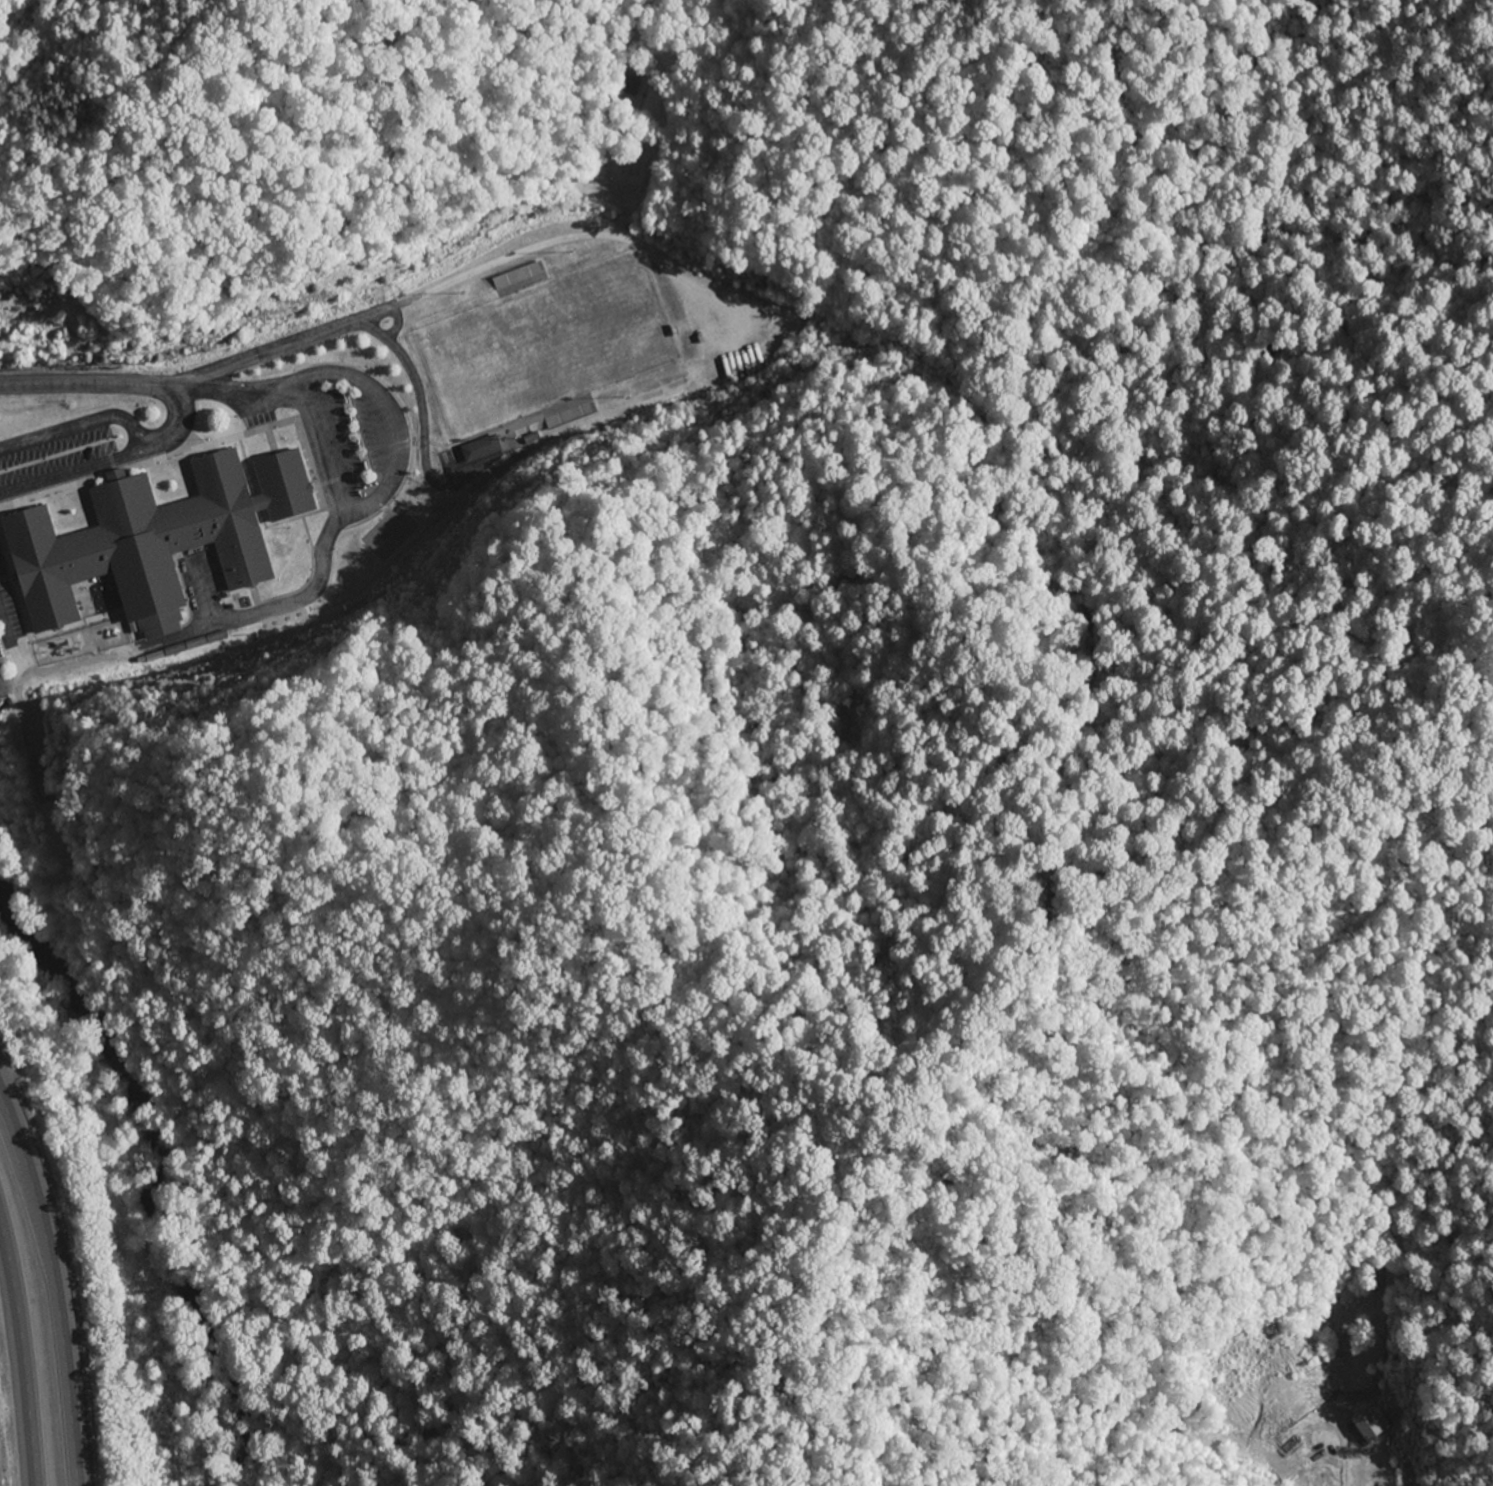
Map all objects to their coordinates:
building: (517, 276)
road: (298, 342)
building: (570, 416)
building: (479, 449)
building: (282, 486)
building: (137, 547)
road: (50, 1300)
road: (20, 1360)
building: (1362, 1428)

